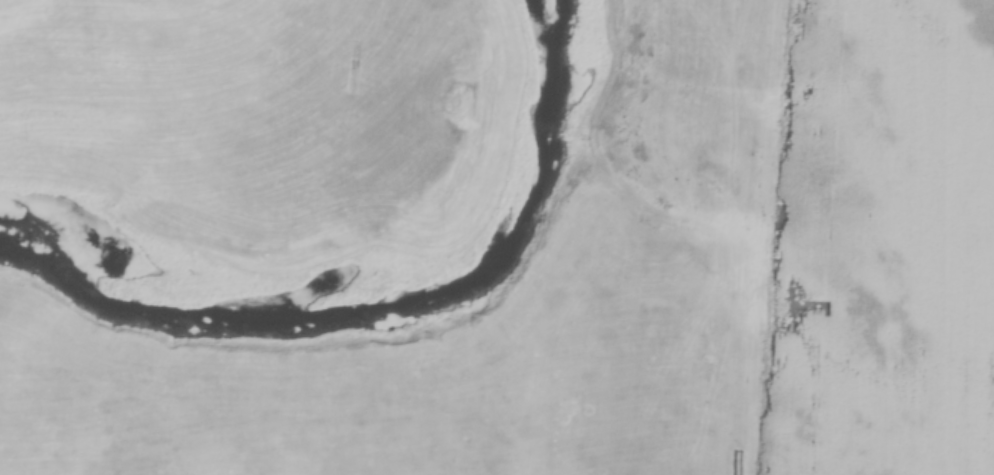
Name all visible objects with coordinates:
river: (387, 326)

